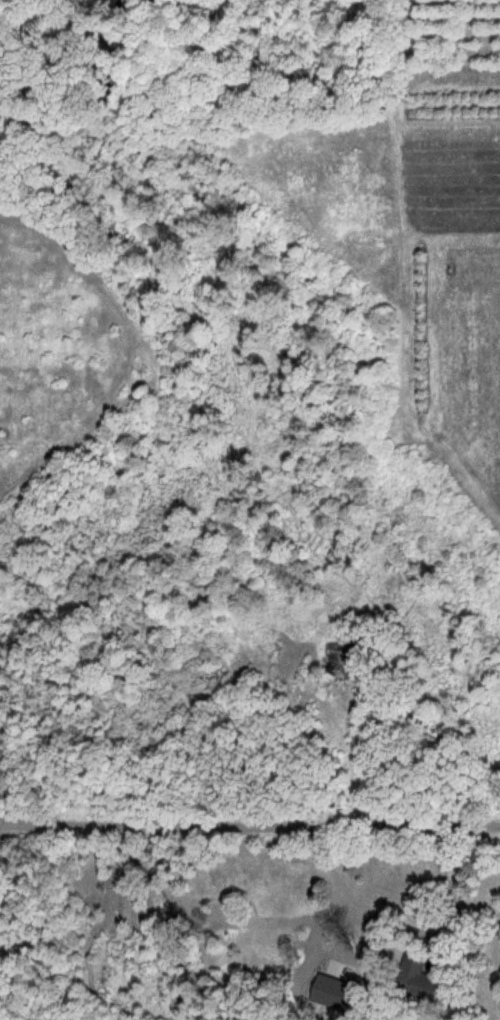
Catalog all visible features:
building: (355, 658)
road: (249, 828)
road: (410, 926)
building: (421, 974)

